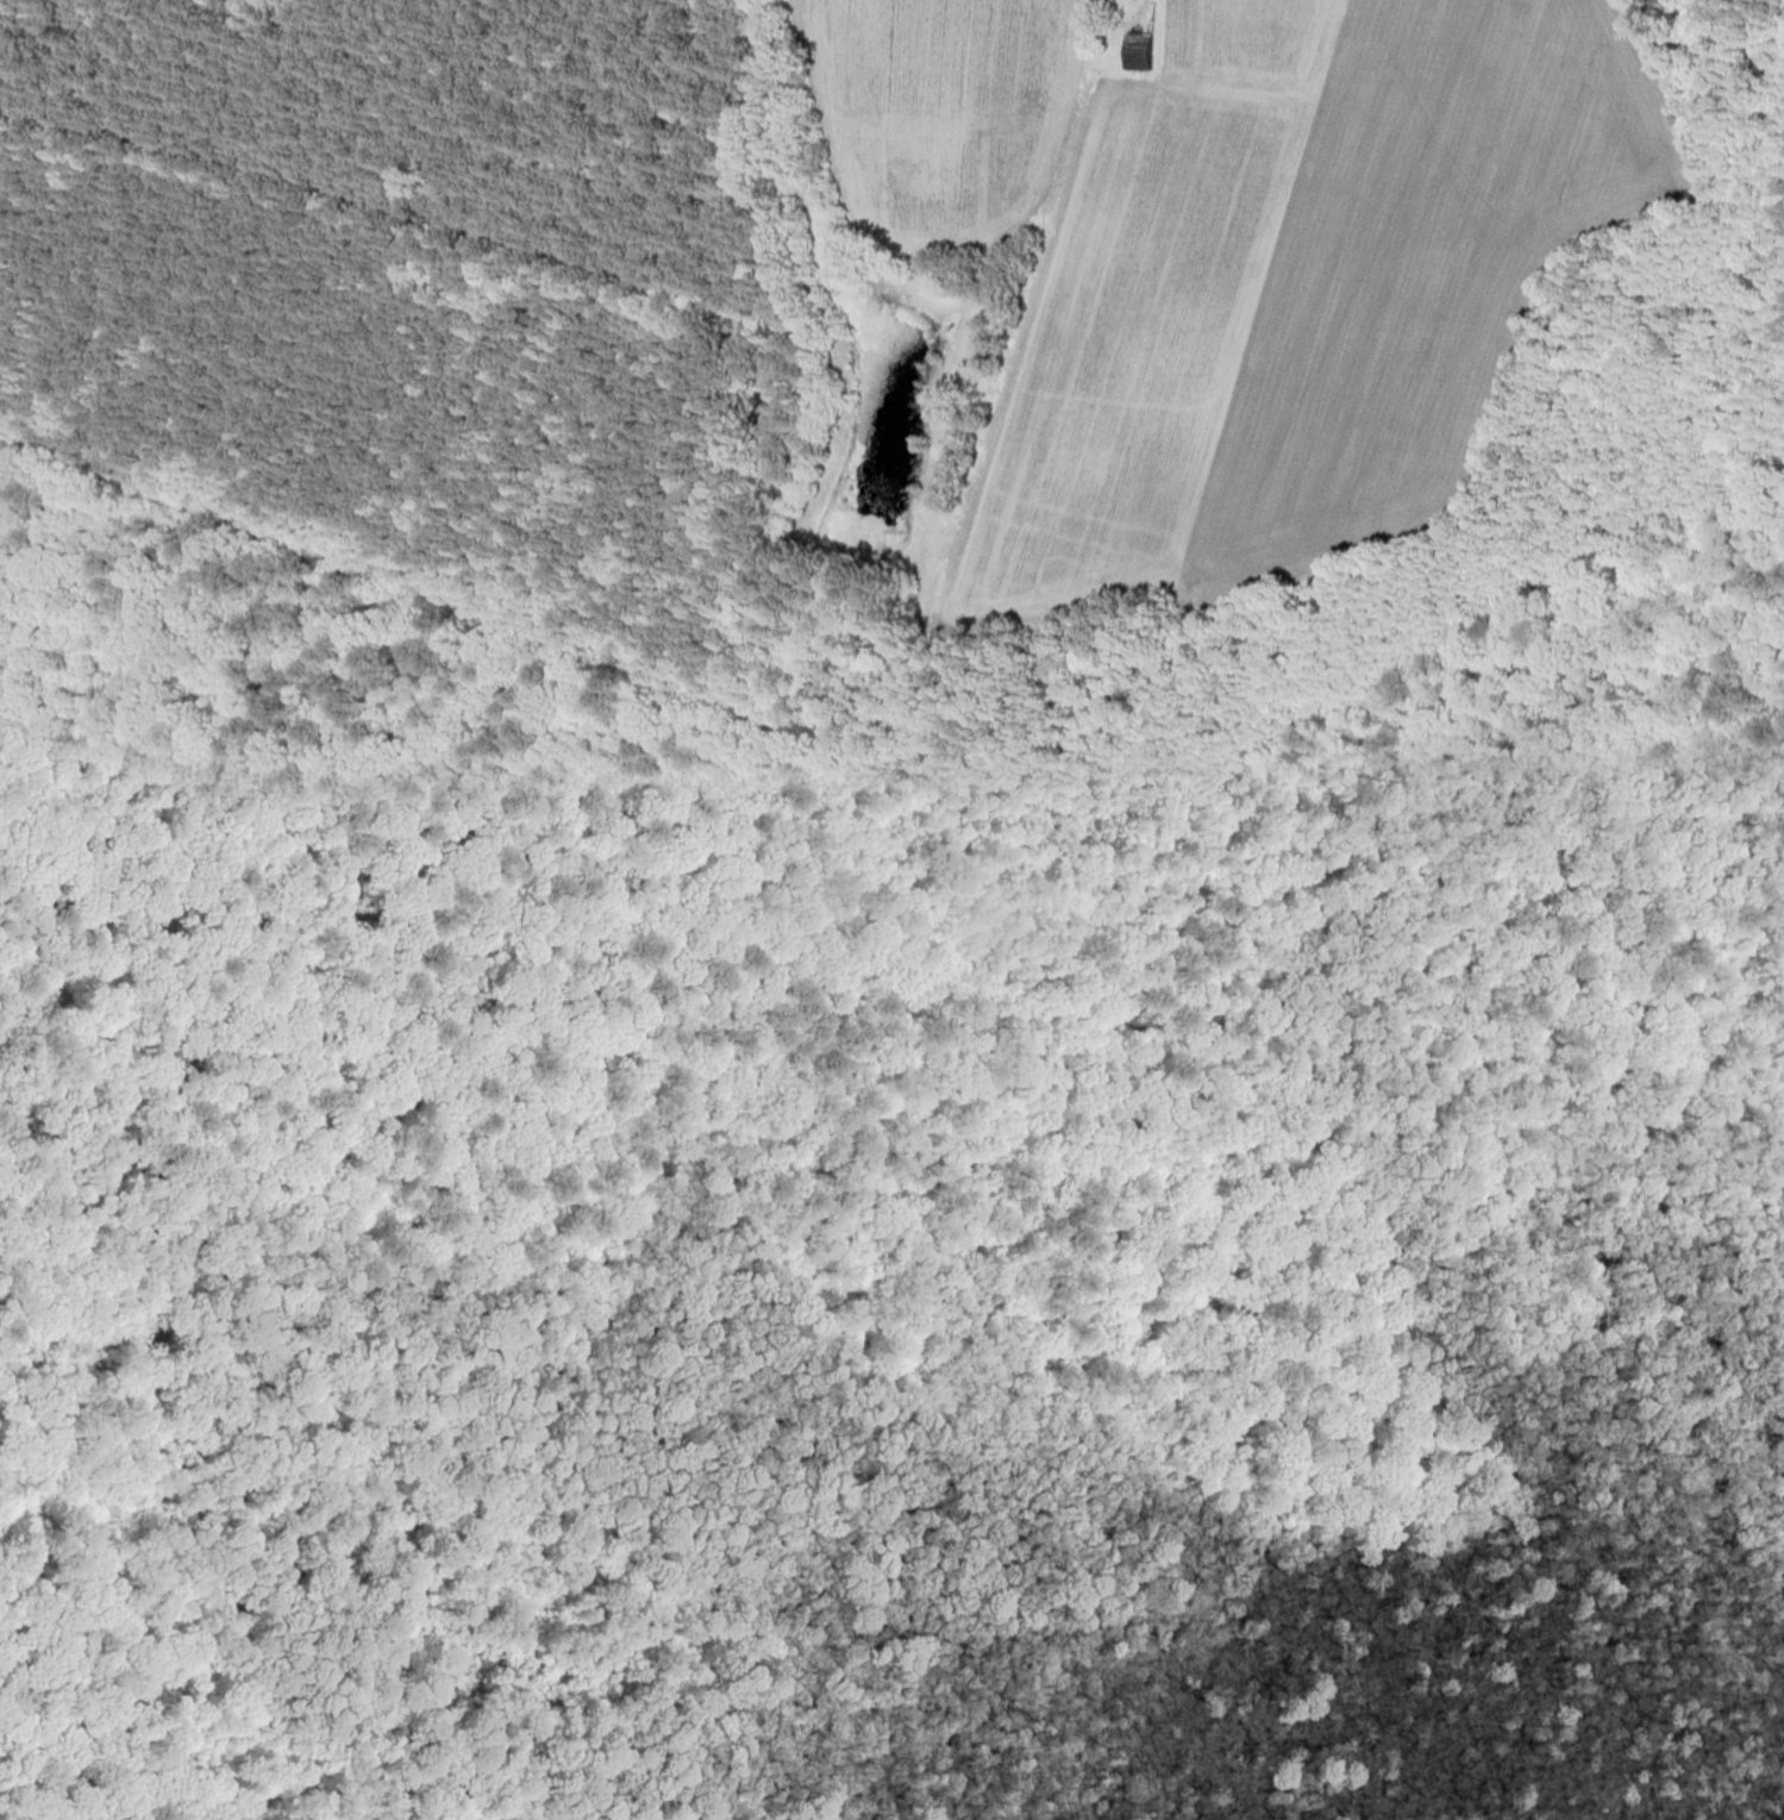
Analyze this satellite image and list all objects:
road: (1165, 31)
building: (1144, 52)
park: (865, 1212)

